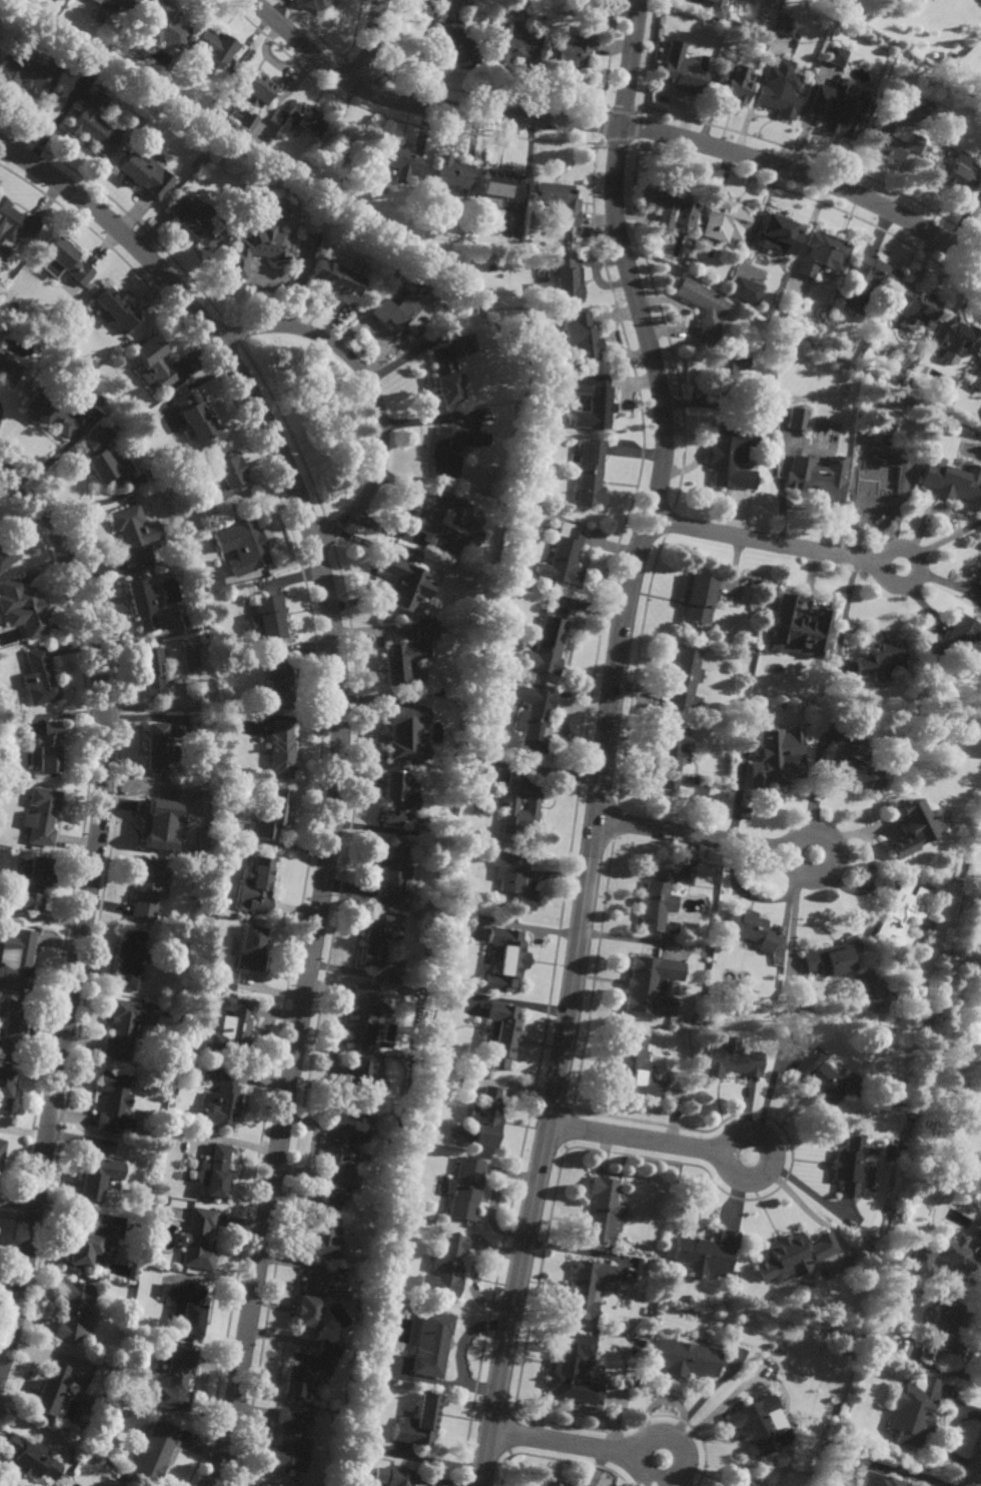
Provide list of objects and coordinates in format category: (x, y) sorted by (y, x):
building: (64, 0)
building: (115, 4)
building: (313, 4)
building: (522, 4)
building: (716, 9)
building: (970, 10)
building: (831, 17)
building: (165, 24)
building: (783, 26)
road: (372, 44)
building: (761, 44)
building: (214, 46)
building: (512, 46)
building: (454, 48)
building: (572, 49)
building: (832, 56)
building: (25, 74)
building: (681, 74)
building: (734, 85)
building: (254, 86)
building: (780, 90)
building: (838, 108)
building: (299, 119)
building: (247, 121)
building: (94, 125)
road: (613, 125)
traffic signals: (620, 126)
building: (347, 139)
building: (896, 141)
building: (224, 143)
building: (399, 158)
building: (145, 172)
building: (954, 172)
building: (452, 174)
building: (236, 185)
building: (498, 186)
building: (558, 198)
building: (279, 199)
building: (671, 205)
building: (980, 209)
building: (194, 219)
building: (722, 221)
building: (16, 222)
building: (773, 234)
building: (516, 242)
building: (257, 245)
building: (822, 252)
building: (67, 258)
road: (624, 262)
building: (337, 276)
building: (561, 277)
building: (866, 280)
building: (745, 289)
building: (13, 298)
building: (914, 306)
building: (115, 308)
building: (700, 308)
building: (402, 310)
building: (581, 335)
building: (956, 335)
building: (766, 357)
building: (89, 358)
building: (153, 361)
building: (9, 369)
building: (444, 375)
building: (729, 376)
building: (976, 377)
building: (781, 378)
building: (895, 380)
road: (370, 387)
building: (592, 400)
building: (904, 402)
building: (48, 413)
building: (196, 417)
building: (795, 418)
building: (450, 447)
building: (726, 452)
building: (105, 459)
building: (588, 473)
building: (226, 477)
building: (817, 480)
building: (954, 480)
building: (883, 483)
building: (441, 518)
building: (133, 534)
road: (764, 542)
building: (248, 548)
building: (6, 553)
building: (564, 558)
road: (882, 559)
building: (211, 580)
building: (403, 584)
building: (697, 598)
building: (142, 603)
building: (22, 608)
road: (843, 610)
building: (267, 618)
building: (798, 626)
building: (424, 631)
building: (954, 637)
building: (545, 647)
building: (879, 658)
building: (398, 663)
building: (152, 673)
building: (40, 679)
building: (683, 683)
building: (280, 687)
building: (534, 724)
building: (403, 735)
building: (159, 748)
building: (47, 750)
building: (281, 750)
building: (670, 755)
road: (340, 759)
building: (777, 759)
building: (855, 768)
building: (209, 770)
building: (398, 799)
building: (505, 803)
building: (42, 816)
building: (274, 816)
building: (161, 818)
building: (197, 818)
building: (913, 827)
road: (694, 834)
road: (794, 843)
building: (392, 872)
building: (958, 874)
building: (512, 878)
building: (37, 883)
building: (147, 886)
building: (258, 886)
building: (655, 900)
road: (86, 907)
building: (902, 913)
road: (793, 919)
building: (749, 927)
building: (378, 936)
building: (251, 947)
building: (503, 957)
building: (832, 957)
building: (17, 958)
building: (129, 958)
building: (650, 983)
building: (890, 987)
building: (793, 996)
building: (181, 1001)
road: (569, 1003)
building: (363, 1014)
building: (12, 1024)
building: (122, 1028)
building: (237, 1028)
building: (500, 1033)
building: (732, 1061)
building: (633, 1067)
building: (365, 1078)
building: (824, 1078)
building: (5, 1089)
building: (113, 1100)
building: (222, 1101)
building: (485, 1117)
building: (204, 1128)
building: (408, 1134)
road: (637, 1139)
road: (728, 1144)
building: (1, 1147)
building: (343, 1153)
building: (850, 1166)
building: (214, 1172)
building: (97, 1177)
building: (465, 1188)
building: (601, 1211)
building: (979, 1225)
building: (326, 1230)
building: (979, 1237)
building: (198, 1240)
building: (980, 1240)
building: (108, 1241)
building: (84, 1245)
building: (707, 1254)
building: (148, 1255)
building: (793, 1256)
building: (960, 1256)
building: (921, 1258)
building: (445, 1267)
building: (150, 1277)
building: (586, 1289)
building: (128, 1293)
building: (339, 1294)
building: (311, 1301)
building: (186, 1308)
building: (74, 1311)
building: (948, 1330)
building: (433, 1345)
building: (686, 1359)
building: (308, 1370)
building: (573, 1370)
building: (176, 1381)
building: (52, 1392)
building: (917, 1410)
building: (419, 1423)
building: (760, 1428)
building: (289, 1442)
road: (566, 1442)
road: (646, 1442)
building: (155, 1452)
building: (32, 1459)
road: (974, 1467)
building: (862, 1469)
building: (400, 1477)
road: (976, 1479)
building: (264, 1484)
building: (554, 1484)
building: (746, 1485)

